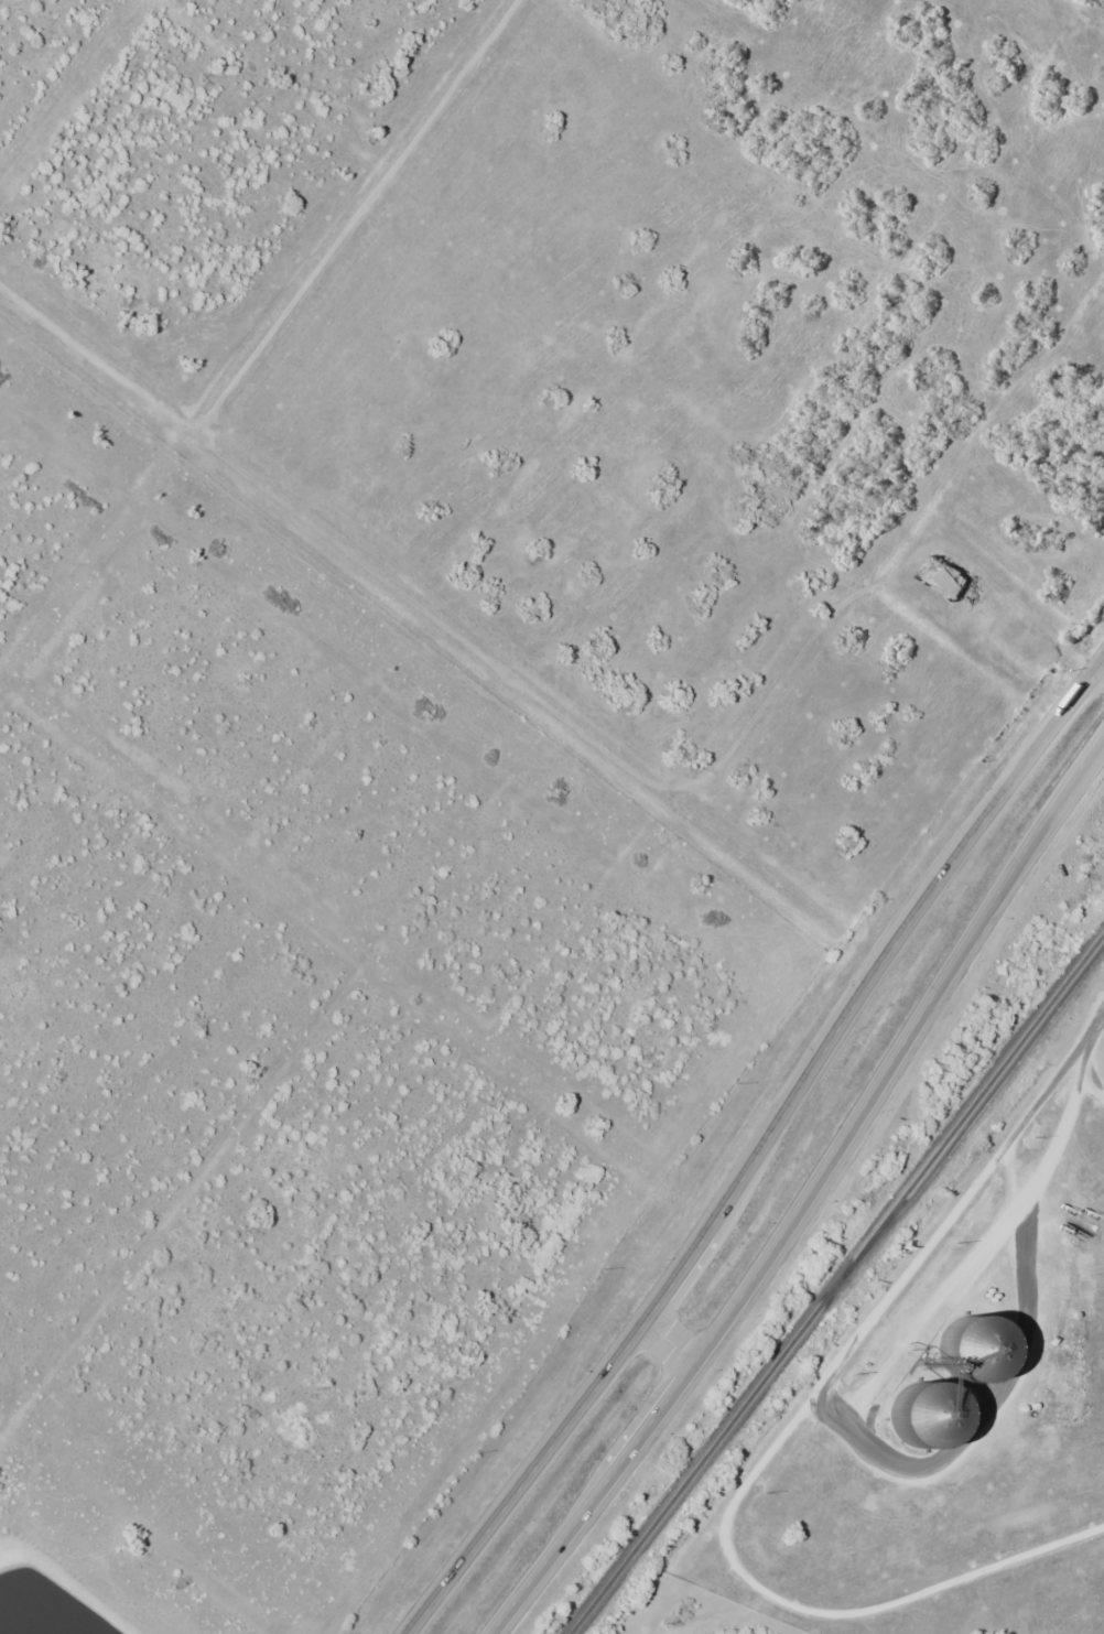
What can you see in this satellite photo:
road: (357, 218)
road: (95, 361)
building: (943, 575)
railway: (981, 1112)
road: (757, 1147)
road: (802, 1200)
railway: (837, 1283)
road: (667, 1344)
building: (974, 1349)
building: (926, 1417)
road: (779, 1440)

